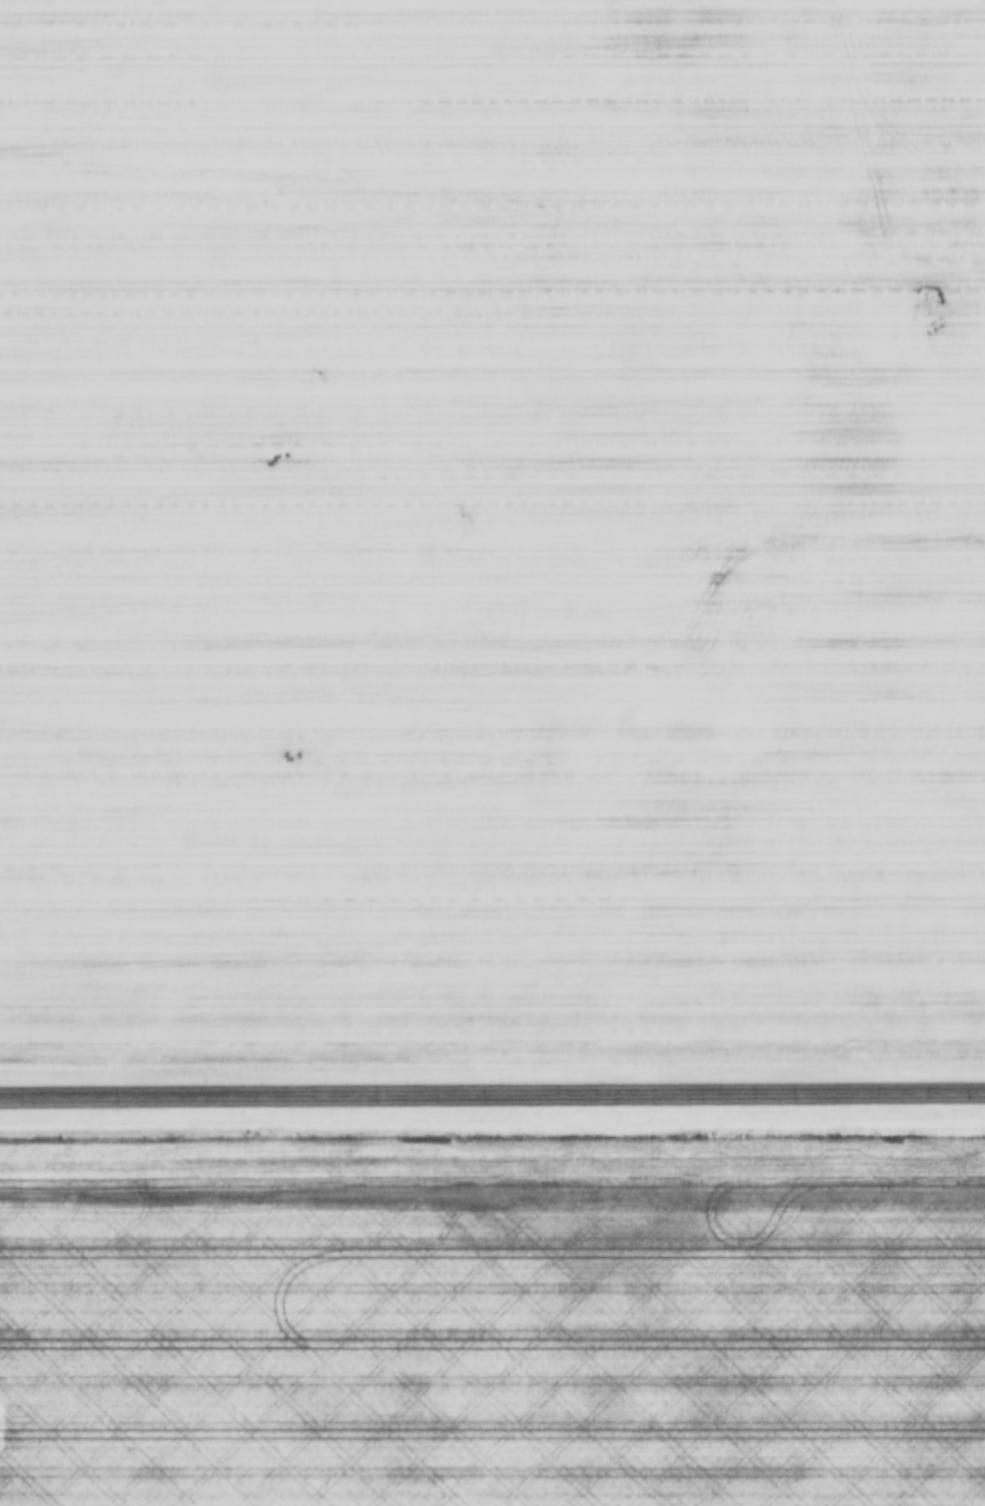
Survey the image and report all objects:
road: (492, 1101)
crop: (493, 1327)

